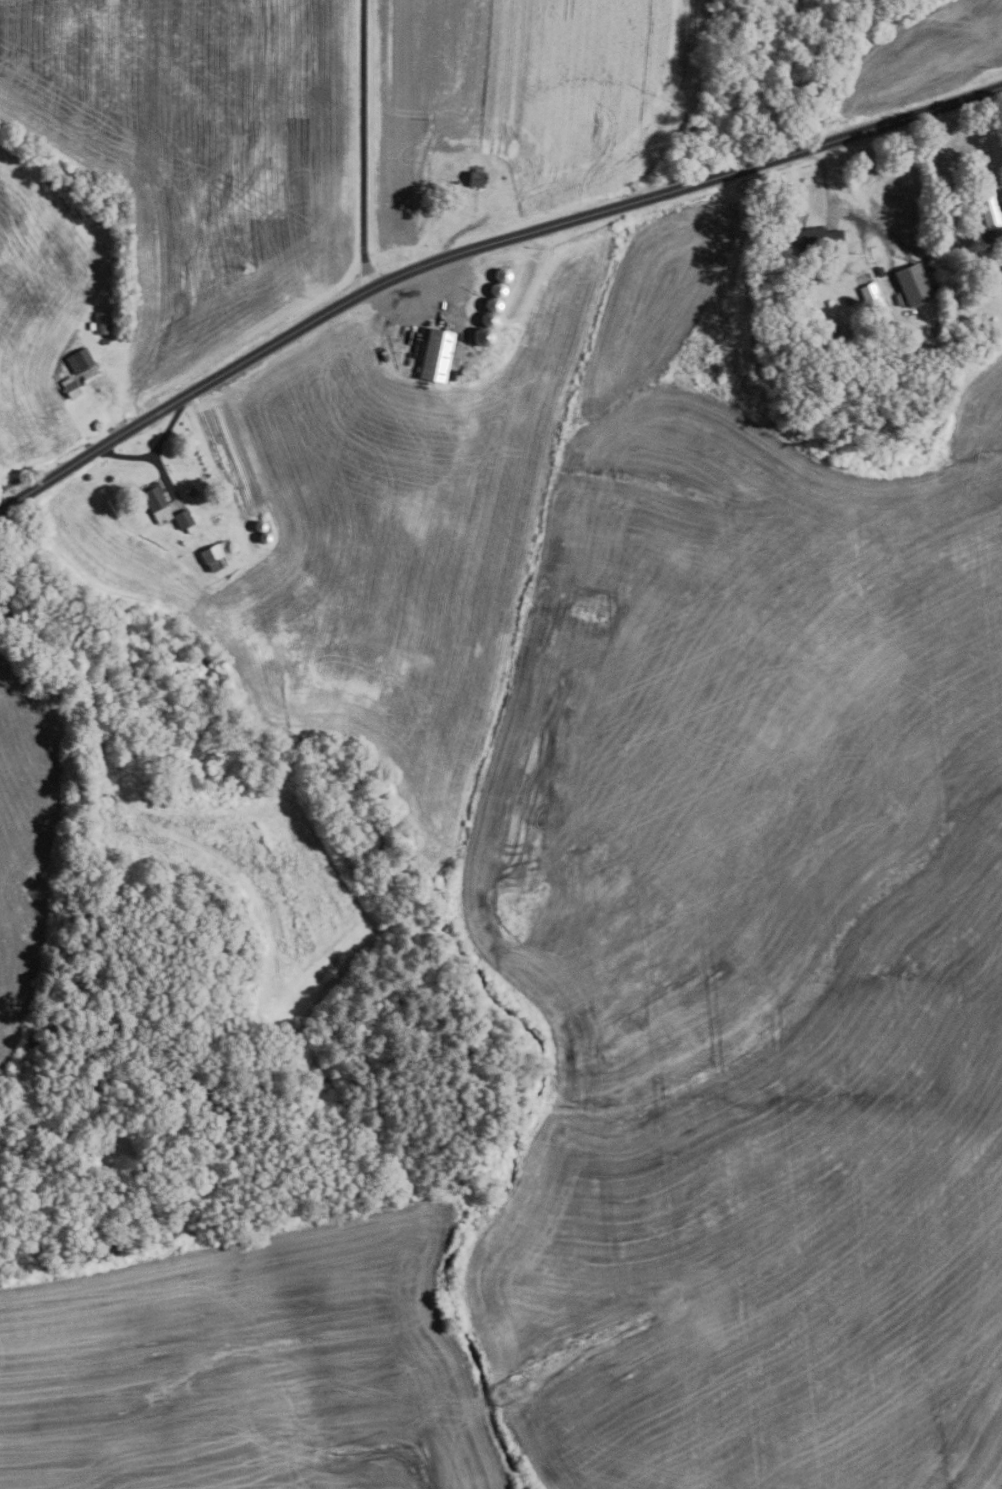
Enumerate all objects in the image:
crop: (921, 58)
road: (363, 144)
crop: (201, 157)
building: (474, 179)
road: (827, 192)
building: (988, 207)
road: (999, 237)
building: (817, 238)
road: (477, 246)
building: (880, 271)
building: (501, 274)
silo: (501, 274)
building: (912, 284)
building: (496, 290)
silo: (496, 290)
building: (987, 290)
building: (846, 300)
building: (872, 301)
building: (491, 305)
silo: (491, 305)
crop: (42, 306)
building: (488, 320)
silo: (488, 320)
building: (103, 322)
building: (90, 326)
building: (481, 336)
silo: (481, 336)
building: (831, 339)
building: (435, 356)
building: (79, 360)
building: (69, 387)
road: (156, 451)
road: (124, 456)
building: (192, 492)
building: (214, 498)
building: (153, 502)
building: (182, 519)
building: (258, 526)
silo: (258, 526)
building: (264, 538)
silo: (264, 538)
building: (211, 557)

